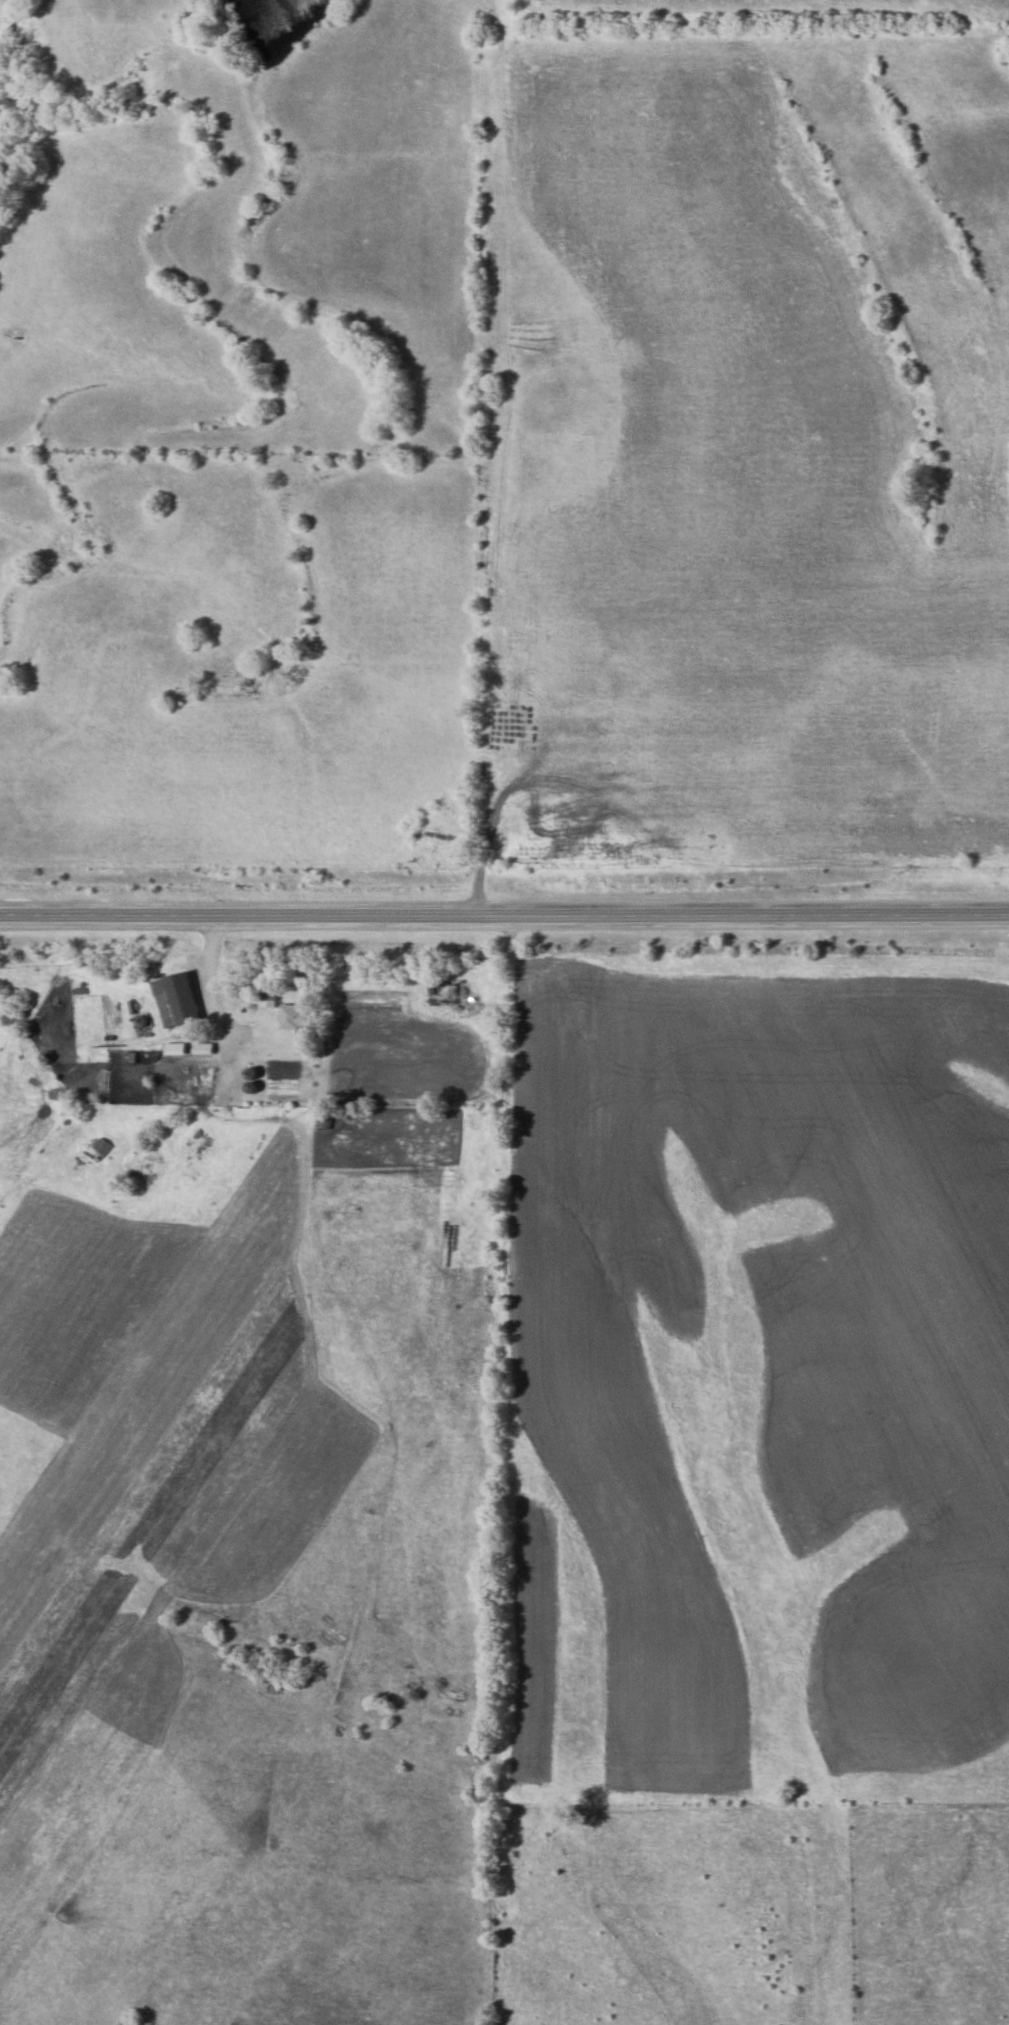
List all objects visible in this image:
road: (504, 915)
building: (173, 1000)
building: (289, 1013)

